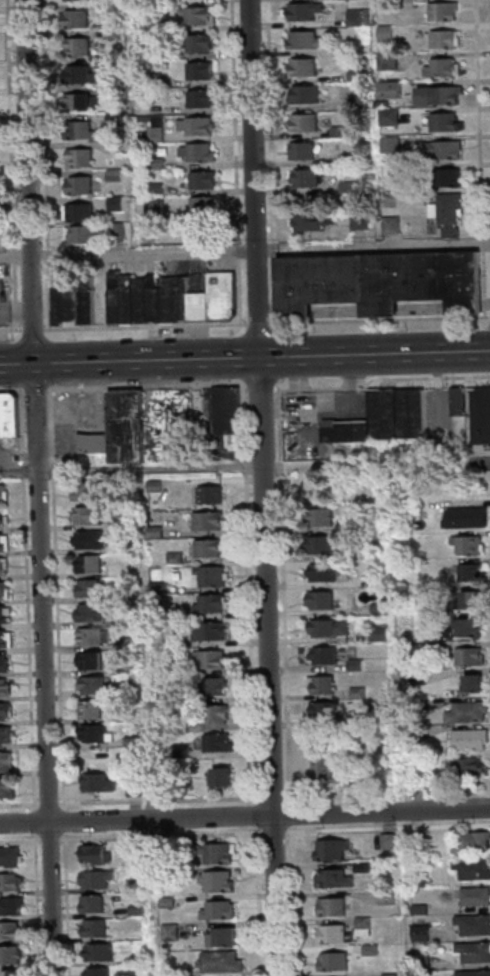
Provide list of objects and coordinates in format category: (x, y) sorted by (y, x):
building: (72, 0)
building: (418, 2)
building: (405, 4)
building: (108, 11)
building: (300, 11)
building: (439, 12)
building: (193, 15)
building: (352, 18)
building: (72, 20)
building: (151, 26)
road: (440, 27)
building: (110, 35)
building: (382, 35)
road: (467, 39)
building: (300, 40)
building: (441, 41)
building: (196, 44)
building: (74, 47)
building: (152, 53)
road: (451, 55)
building: (110, 65)
building: (299, 68)
building: (438, 68)
road: (467, 68)
building: (197, 71)
building: (77, 75)
building: (353, 76)
building: (150, 80)
road: (446, 82)
building: (387, 90)
building: (111, 93)
building: (302, 94)
building: (436, 96)
road: (475, 96)
building: (198, 99)
building: (355, 102)
building: (78, 103)
road: (445, 110)
building: (386, 117)
building: (111, 118)
building: (302, 122)
building: (440, 122)
building: (193, 127)
building: (153, 130)
building: (77, 131)
building: (336, 131)
road: (483, 136)
road: (440, 138)
building: (388, 145)
building: (111, 147)
road: (469, 147)
building: (299, 150)
building: (441, 150)
building: (195, 153)
building: (77, 158)
building: (347, 158)
building: (154, 163)
road: (268, 163)
road: (479, 164)
road: (46, 165)
road: (8, 166)
building: (112, 175)
building: (304, 178)
building: (444, 178)
road: (29, 181)
building: (200, 181)
building: (77, 186)
building: (345, 187)
building: (153, 189)
road: (481, 193)
building: (116, 202)
building: (205, 204)
building: (155, 206)
building: (78, 211)
building: (451, 212)
road: (478, 214)
road: (485, 217)
road: (474, 218)
building: (316, 221)
building: (363, 221)
building: (394, 225)
building: (117, 231)
building: (81, 233)
road: (373, 245)
road: (144, 254)
road: (15, 257)
building: (381, 280)
building: (221, 293)
building: (114, 295)
building: (173, 296)
building: (126, 297)
building: (63, 298)
building: (85, 298)
building: (139, 298)
building: (152, 299)
building: (197, 305)
road: (381, 321)
road: (262, 324)
road: (149, 327)
road: (36, 330)
road: (12, 331)
road: (262, 358)
road: (17, 364)
road: (14, 391)
road: (33, 391)
road: (441, 391)
building: (462, 401)
building: (400, 413)
building: (480, 414)
building: (13, 415)
building: (2, 416)
building: (230, 416)
building: (130, 426)
building: (350, 431)
building: (97, 442)
building: (207, 450)
road: (191, 465)
building: (158, 486)
road: (265, 487)
building: (91, 491)
building: (5, 493)
building: (213, 494)
building: (90, 515)
building: (324, 516)
building: (3, 517)
building: (469, 518)
building: (211, 520)
building: (380, 523)
building: (159, 531)
building: (91, 539)
building: (5, 542)
building: (323, 545)
building: (470, 545)
building: (212, 547)
building: (372, 554)
building: (178, 558)
building: (92, 563)
building: (5, 565)
building: (473, 571)
building: (328, 572)
building: (213, 577)
building: (383, 577)
building: (162, 587)
building: (92, 588)
building: (5, 591)
road: (46, 592)
building: (418, 593)
building: (324, 599)
building: (474, 599)
road: (30, 601)
building: (213, 603)
building: (382, 607)
building: (92, 611)
building: (180, 613)
building: (7, 614)
building: (332, 627)
building: (467, 627)
building: (211, 632)
building: (382, 634)
building: (94, 636)
building: (7, 639)
building: (131, 643)
building: (417, 652)
building: (327, 655)
building: (473, 656)
building: (216, 659)
building: (94, 660)
building: (5, 663)
building: (130, 663)
building: (359, 665)
building: (182, 670)
building: (477, 682)
building: (325, 684)
building: (95, 685)
building: (216, 685)
building: (4, 687)
building: (131, 689)
building: (361, 692)
building: (183, 699)
building: (94, 709)
building: (6, 710)
building: (329, 710)
building: (220, 713)
building: (470, 713)
building: (384, 714)
building: (184, 724)
building: (95, 732)
building: (8, 734)
building: (419, 735)
building: (472, 739)
building: (136, 740)
building: (223, 741)
building: (185, 751)
building: (7, 761)
building: (470, 766)
building: (335, 773)
building: (223, 776)
building: (419, 778)
building: (103, 781)
building: (9, 787)
building: (138, 787)
building: (167, 787)
road: (273, 797)
road: (48, 803)
road: (21, 804)
road: (272, 816)
road: (294, 820)
road: (259, 821)
road: (37, 822)
road: (27, 823)
road: (68, 826)
road: (389, 827)
road: (277, 832)
road: (164, 836)
road: (21, 840)
road: (53, 840)
building: (388, 840)
building: (473, 842)
building: (330, 849)
building: (143, 851)
building: (170, 851)
building: (222, 852)
building: (98, 854)
building: (11, 855)
building: (363, 865)
building: (473, 868)
building: (170, 872)
building: (100, 878)
building: (333, 878)
building: (420, 880)
building: (220, 881)
building: (11, 882)
building: (140, 885)
building: (475, 895)
building: (387, 896)
road: (55, 899)
road: (261, 900)
road: (296, 900)
building: (171, 902)
road: (69, 903)
road: (40, 904)
building: (96, 904)
building: (12, 905)
building: (332, 906)
building: (418, 907)
building: (141, 909)
building: (222, 910)
building: (474, 923)
building: (363, 925)
building: (98, 928)
building: (10, 930)
building: (173, 932)
building: (332, 932)
building: (420, 932)
building: (142, 935)
building: (225, 937)
building: (370, 949)
building: (473, 950)
building: (102, 952)
building: (10, 954)
building: (142, 959)
building: (332, 960)
building: (224, 962)
building: (421, 962)
building: (102, 972)
building: (186, 972)
building: (14, 973)
building: (473, 973)
building: (389, 975)

